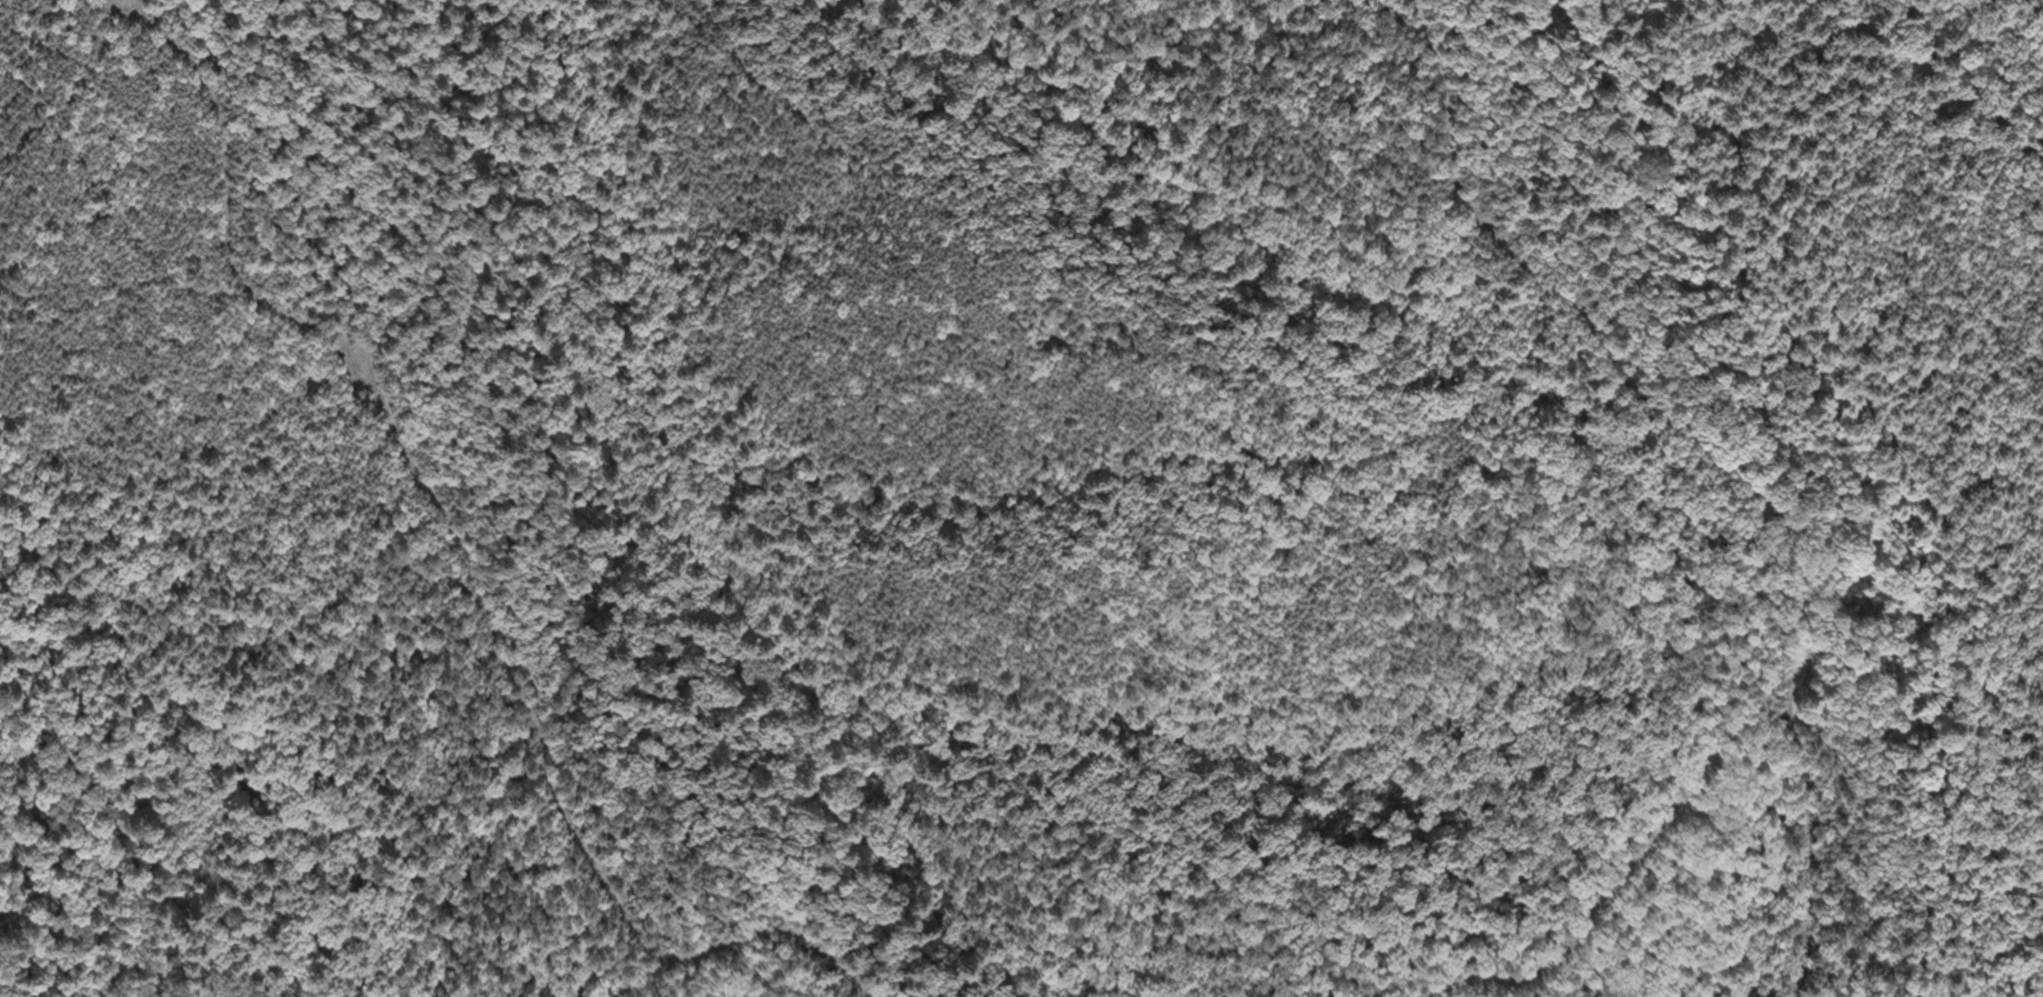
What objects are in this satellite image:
road: (1697, 459)

